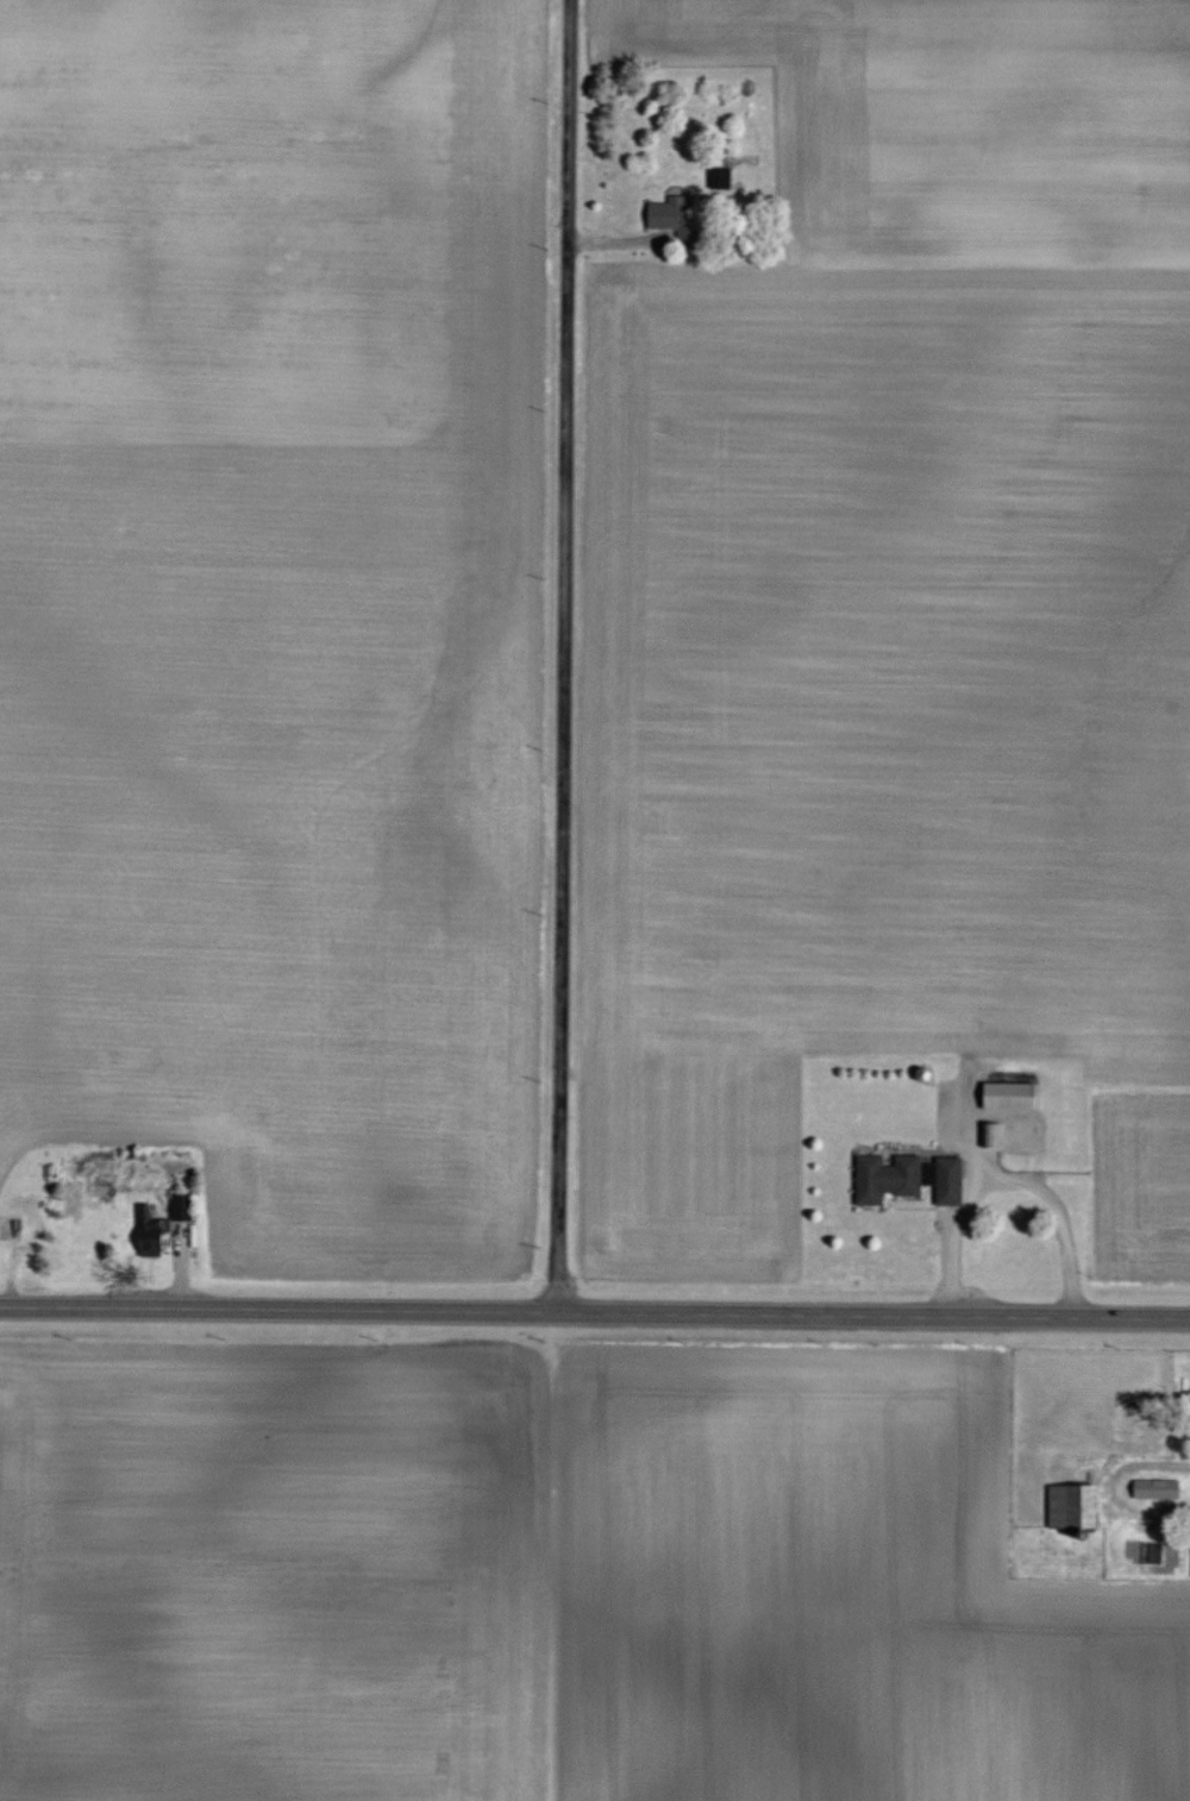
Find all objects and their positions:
building: (715, 177)
building: (665, 215)
road: (606, 239)
road: (560, 658)
building: (1004, 1096)
building: (988, 1135)
building: (885, 1178)
building: (944, 1180)
building: (142, 1223)
road: (595, 1317)
building: (1159, 1489)
building: (1067, 1507)

